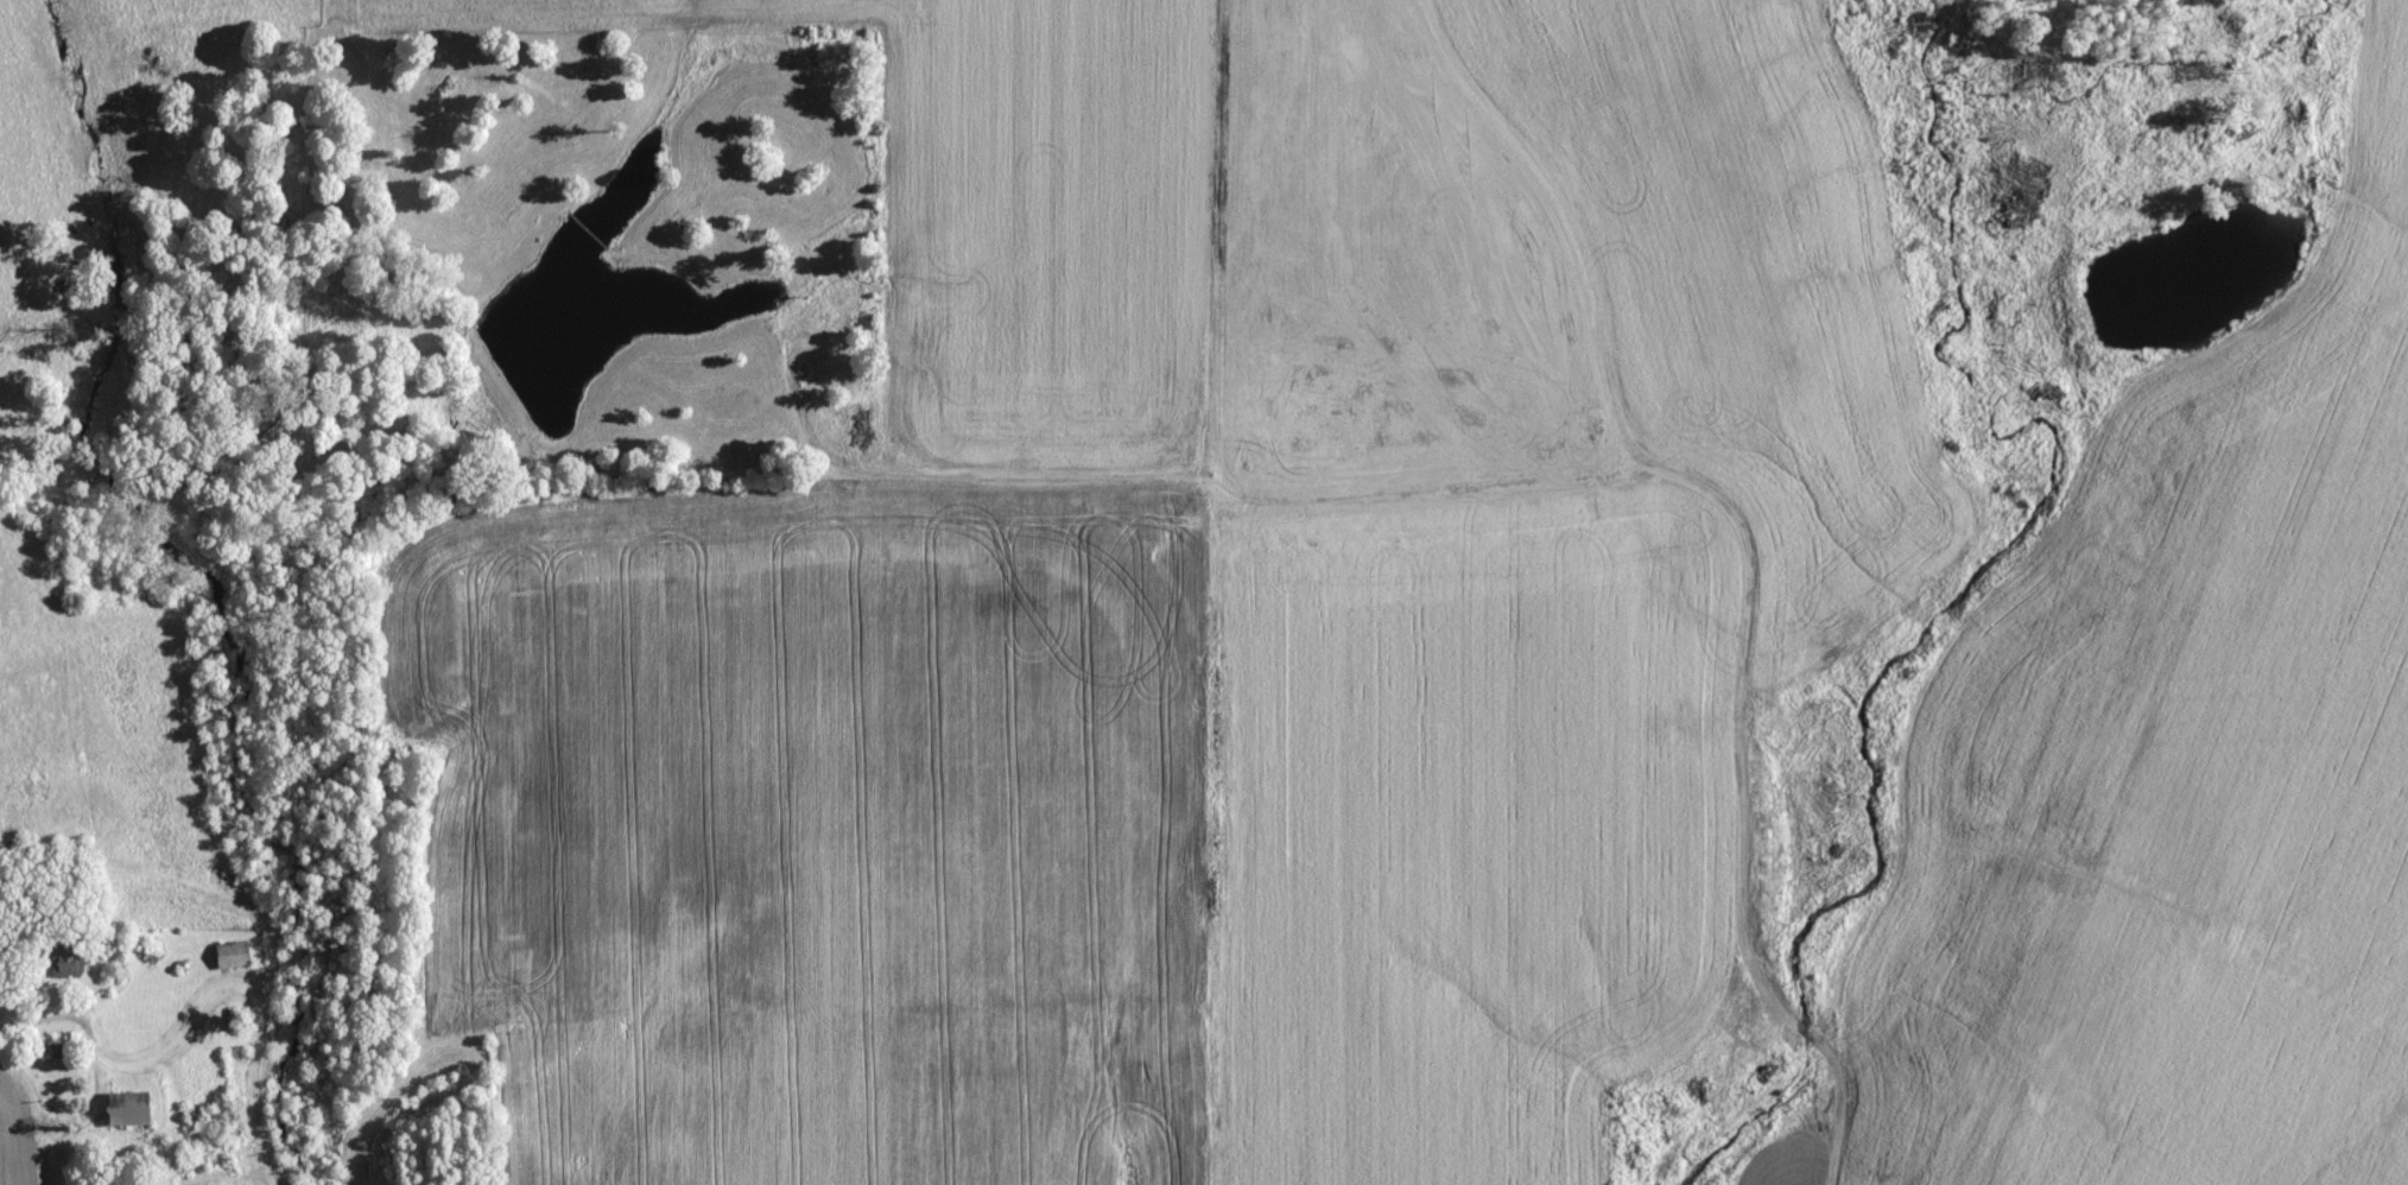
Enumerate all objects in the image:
building: (232, 951)
building: (68, 962)
road: (140, 1059)
building: (129, 1104)

